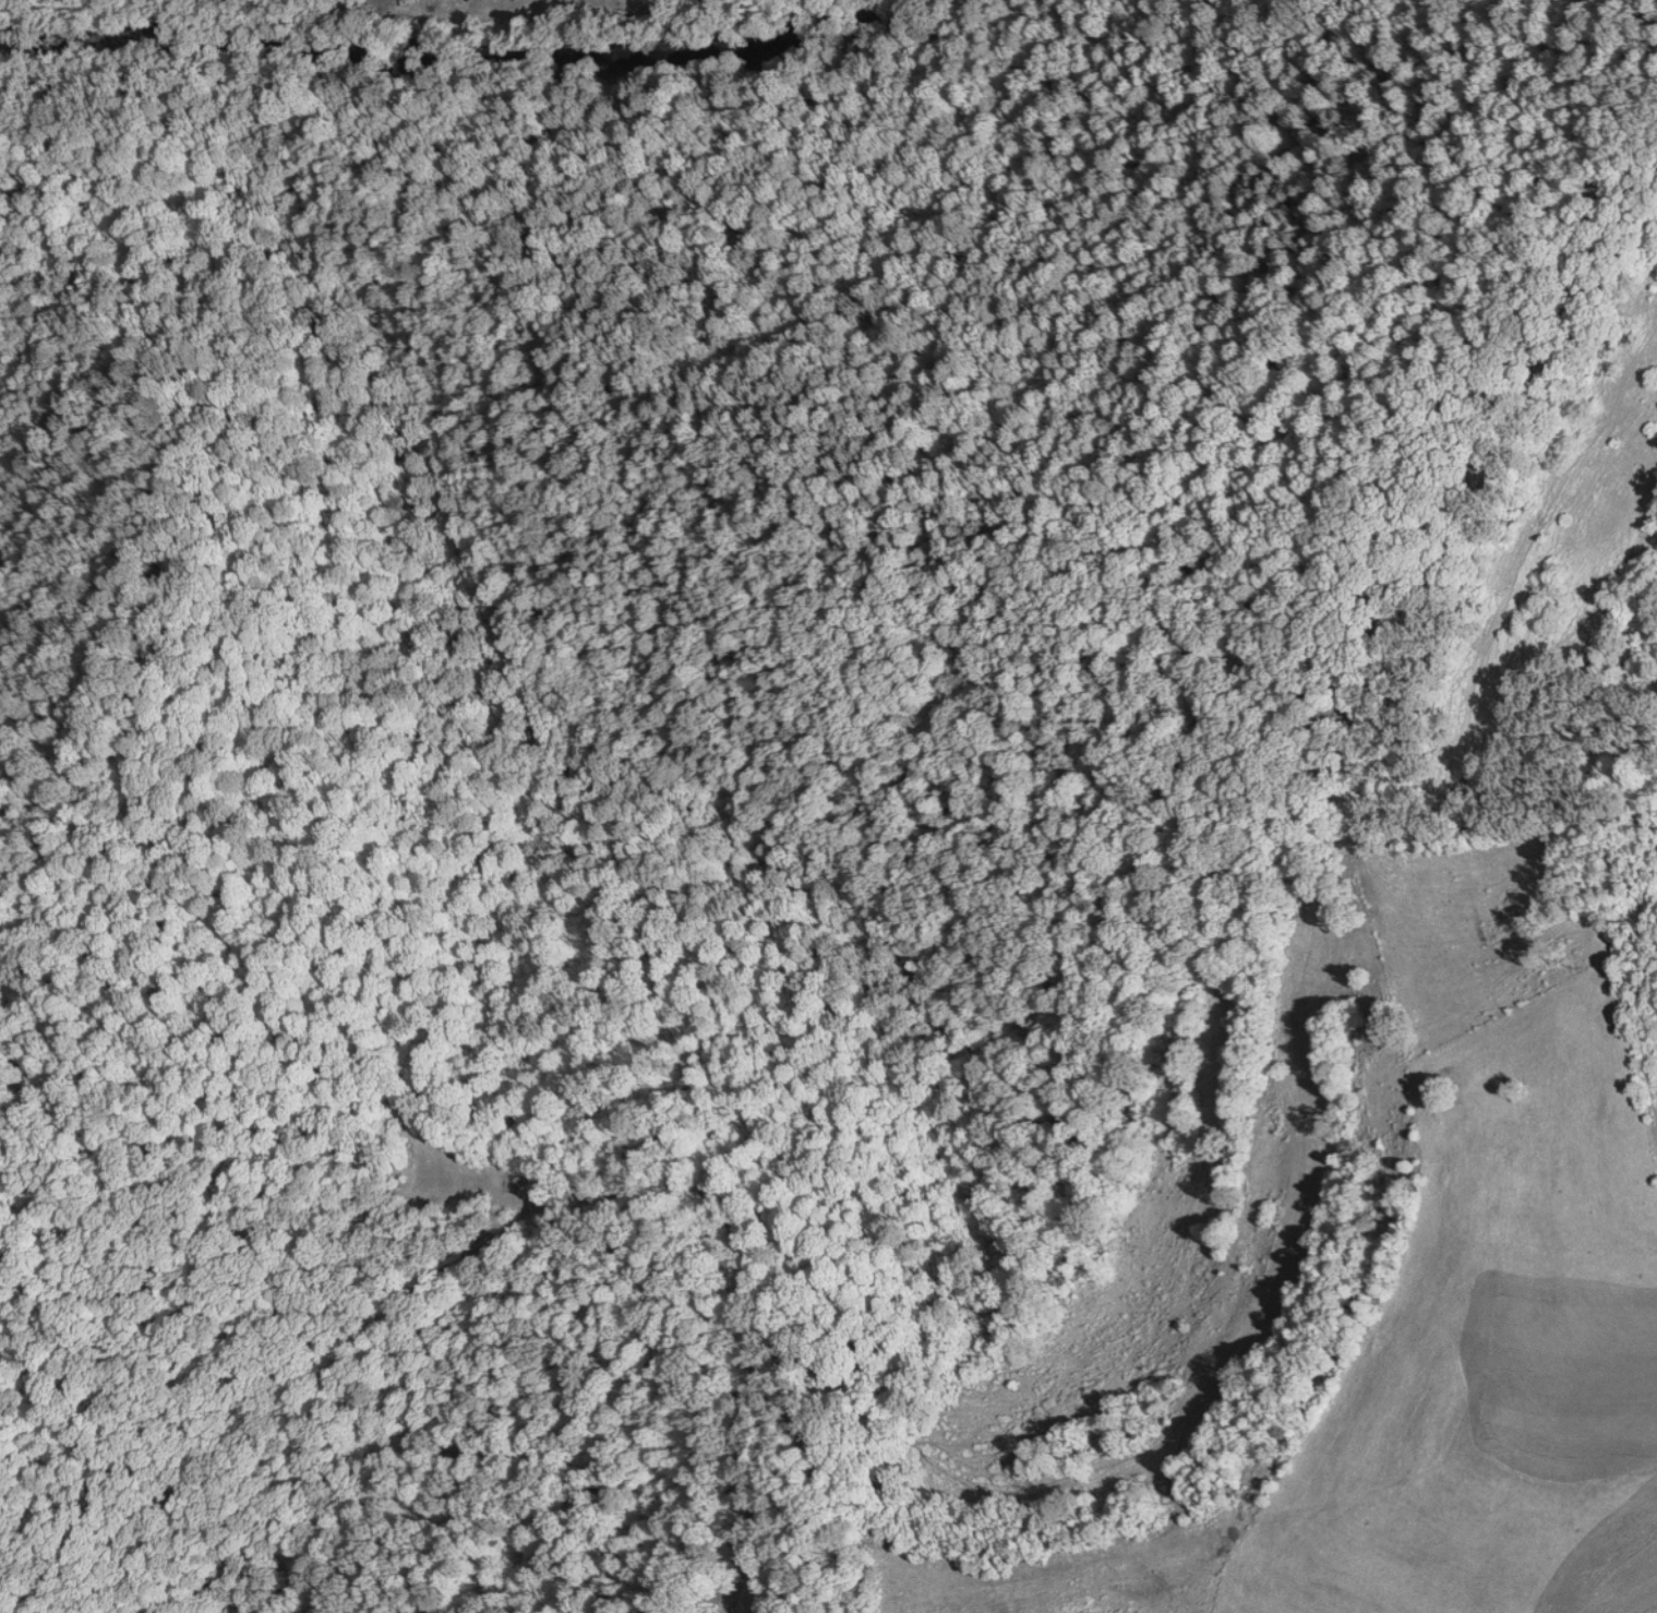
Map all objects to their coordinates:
road: (537, 1215)
road: (1624, 1579)

